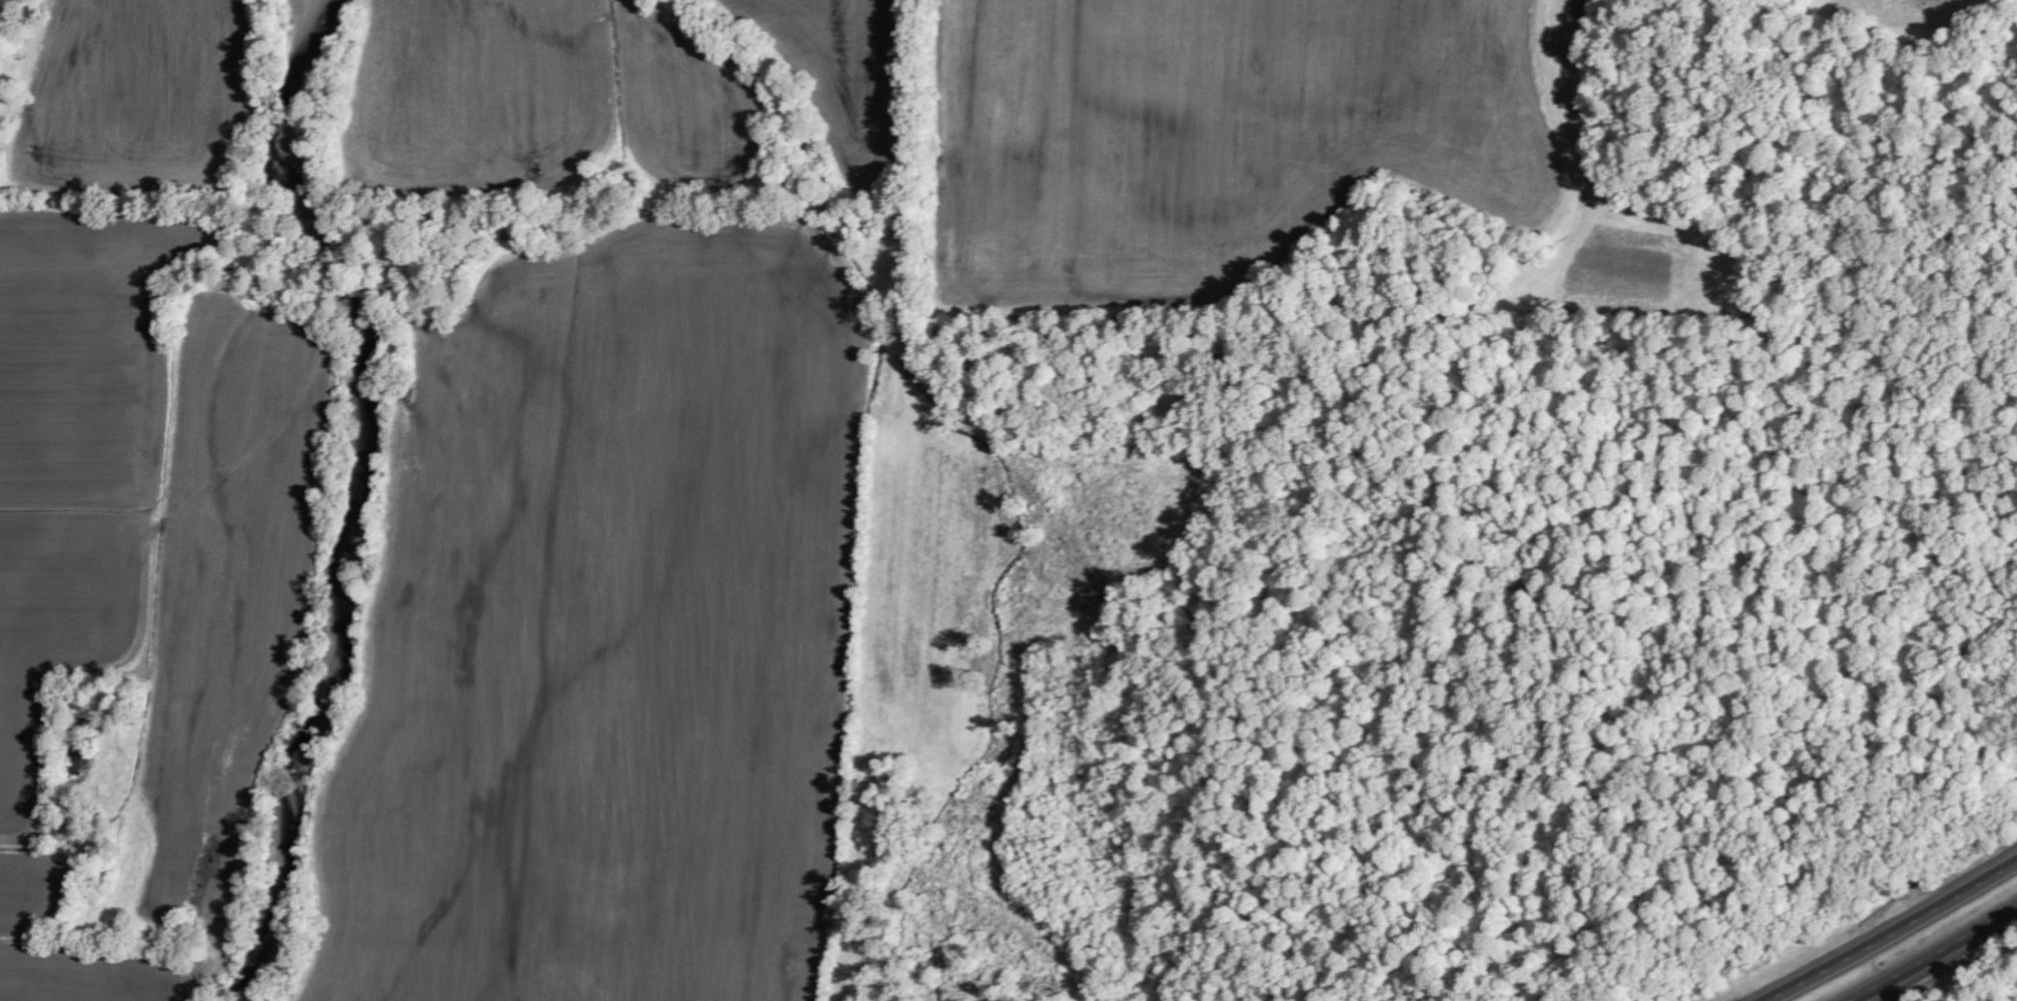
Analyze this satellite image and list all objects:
road: (1886, 930)
road: (1935, 955)

